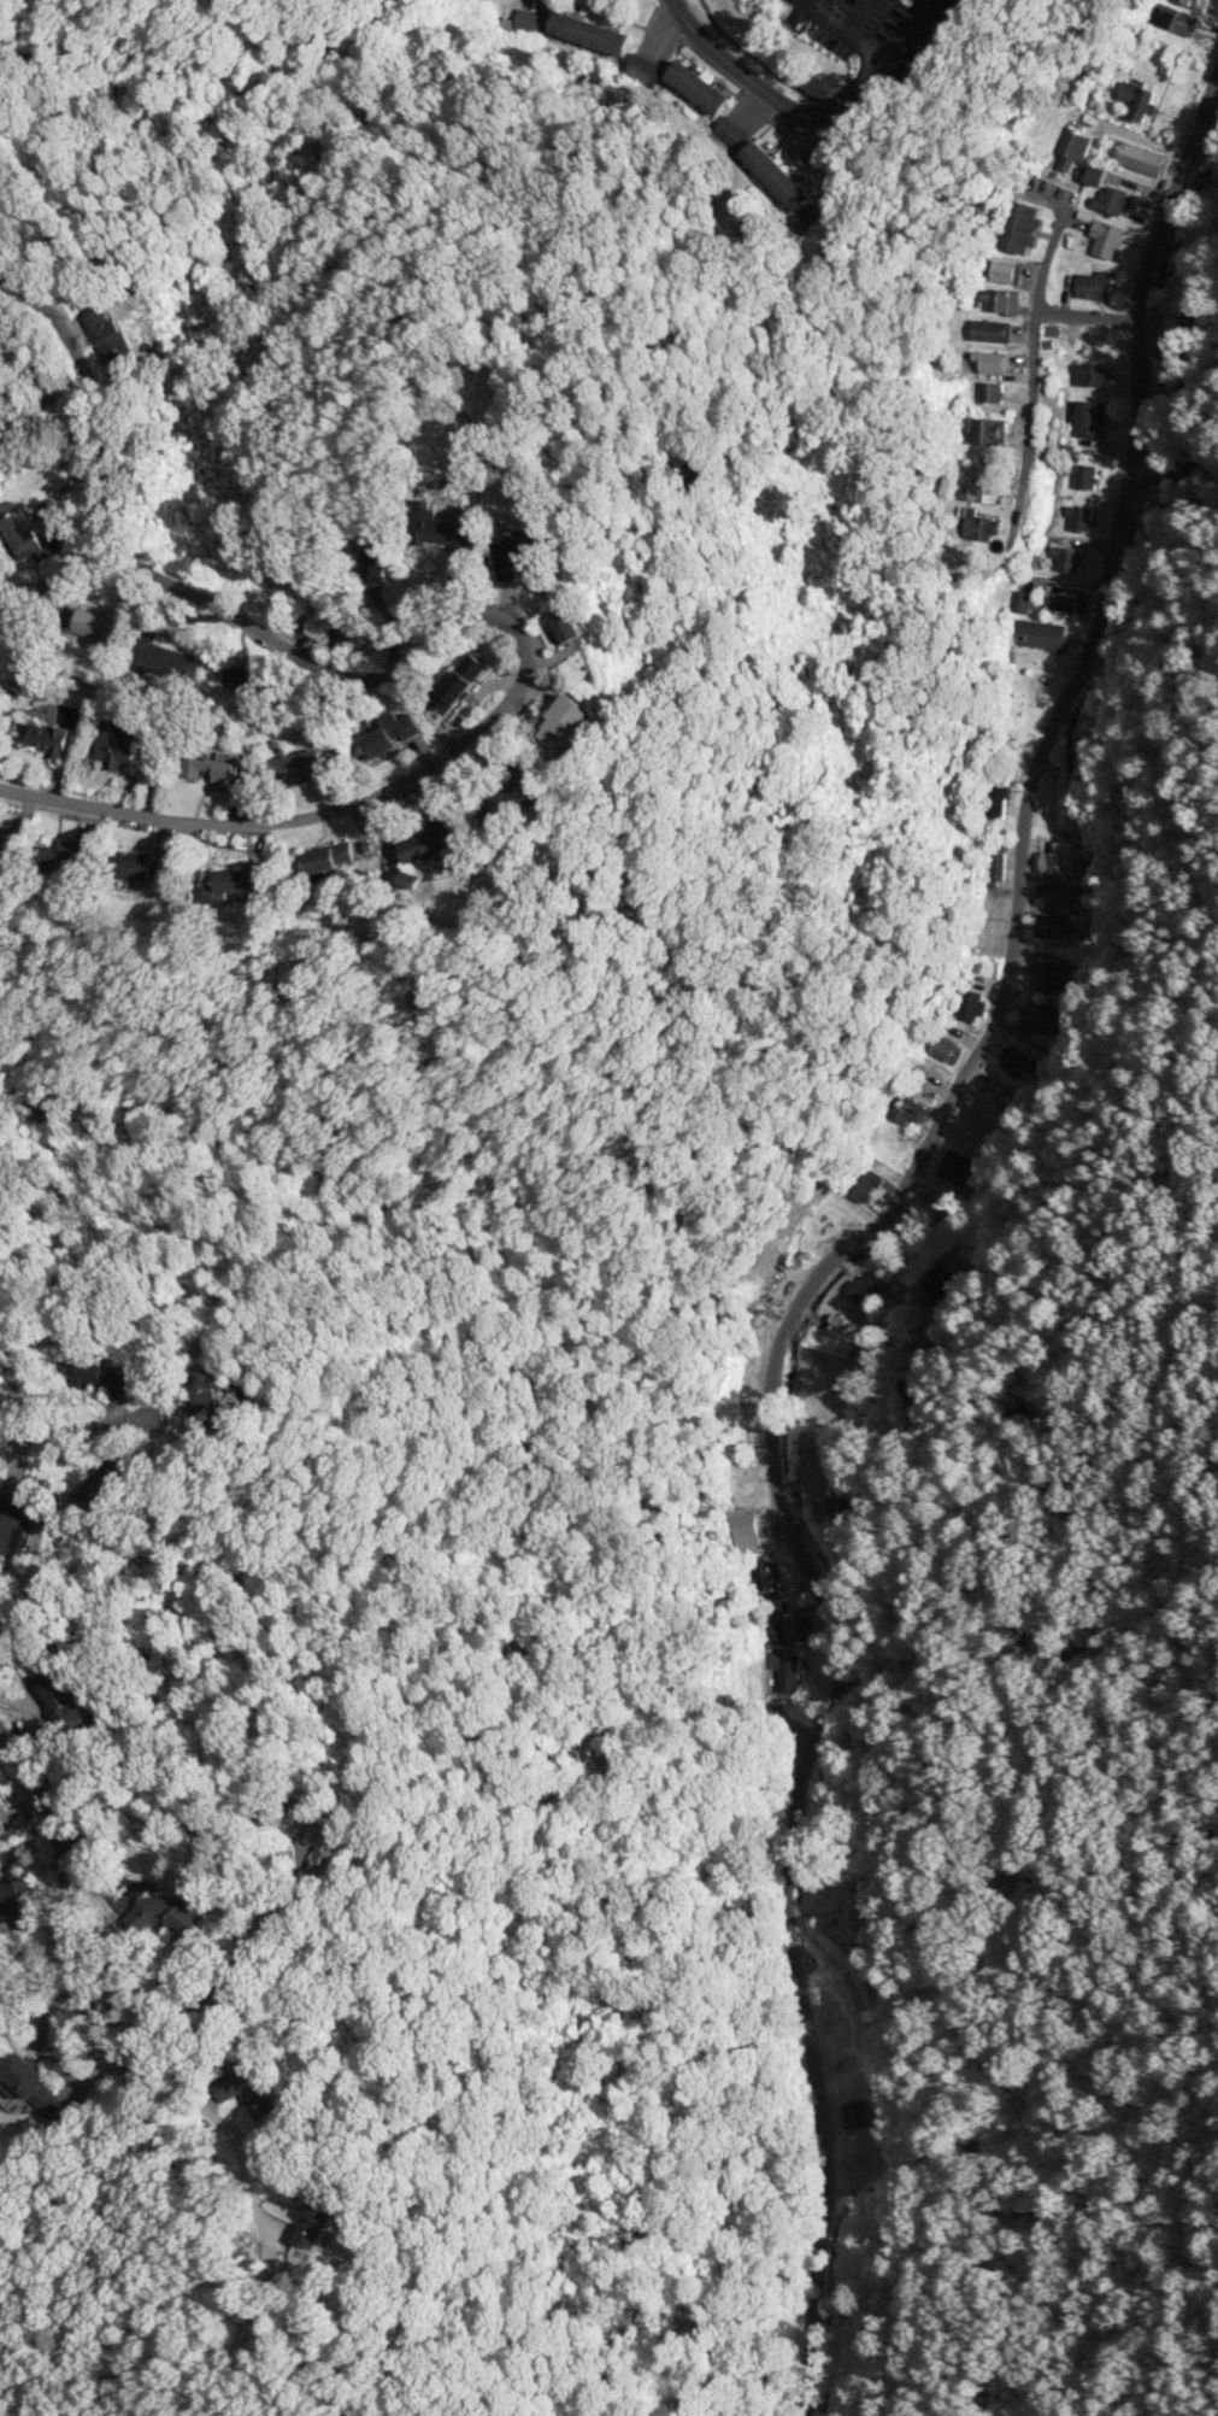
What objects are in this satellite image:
building: (1195, 2)
building: (1175, 19)
building: (530, 24)
building: (588, 33)
building: (642, 69)
building: (696, 87)
building: (1136, 100)
road: (802, 116)
building: (730, 134)
building: (1071, 148)
building: (775, 175)
building: (1106, 192)
building: (802, 221)
building: (1018, 227)
building: (1105, 238)
building: (1002, 271)
building: (1094, 286)
building: (1000, 300)
road: (1034, 312)
building: (990, 330)
building: (111, 340)
building: (990, 362)
building: (1090, 375)
building: (990, 392)
building: (1088, 418)
building: (990, 432)
road: (1030, 436)
building: (1083, 475)
building: (1078, 517)
building: (976, 526)
building: (435, 527)
building: (29, 535)
building: (512, 550)
building: (1067, 558)
building: (376, 563)
building: (1063, 598)
building: (1020, 602)
road: (220, 611)
building: (320, 622)
building: (564, 624)
building: (93, 626)
building: (1042, 634)
building: (163, 659)
building: (243, 676)
building: (459, 682)
building: (561, 723)
building: (390, 733)
building: (43, 737)
building: (117, 746)
building: (212, 767)
building: (296, 768)
building: (520, 792)
building: (995, 802)
road: (249, 823)
building: (428, 849)
building: (61, 857)
building: (328, 857)
building: (1, 860)
building: (1055, 860)
building: (133, 866)
building: (231, 884)
building: (1053, 895)
building: (1053, 926)
building: (1054, 978)
building: (969, 1004)
building: (1040, 1018)
building: (945, 1049)
building: (1014, 1060)
building: (907, 1110)
building: (954, 1167)
building: (863, 1183)
road: (859, 1236)
building: (940, 1280)
building: (865, 1290)
building: (847, 1329)
building: (94, 1374)
road: (934, 1388)
building: (205, 1394)
road: (80, 1435)
building: (104, 1480)
building: (12, 1524)
building: (743, 1527)
building: (765, 1581)
building: (789, 1628)
building: (785, 1670)
building: (61, 1701)
building: (0, 1805)
building: (1, 1825)
building: (324, 1848)
building: (18, 1901)
building: (161, 1906)
building: (853, 1907)
building: (184, 1921)
road: (92, 1971)
road: (217, 1984)
building: (35, 2088)
building: (245, 2090)
building: (863, 2163)
building: (312, 2221)

